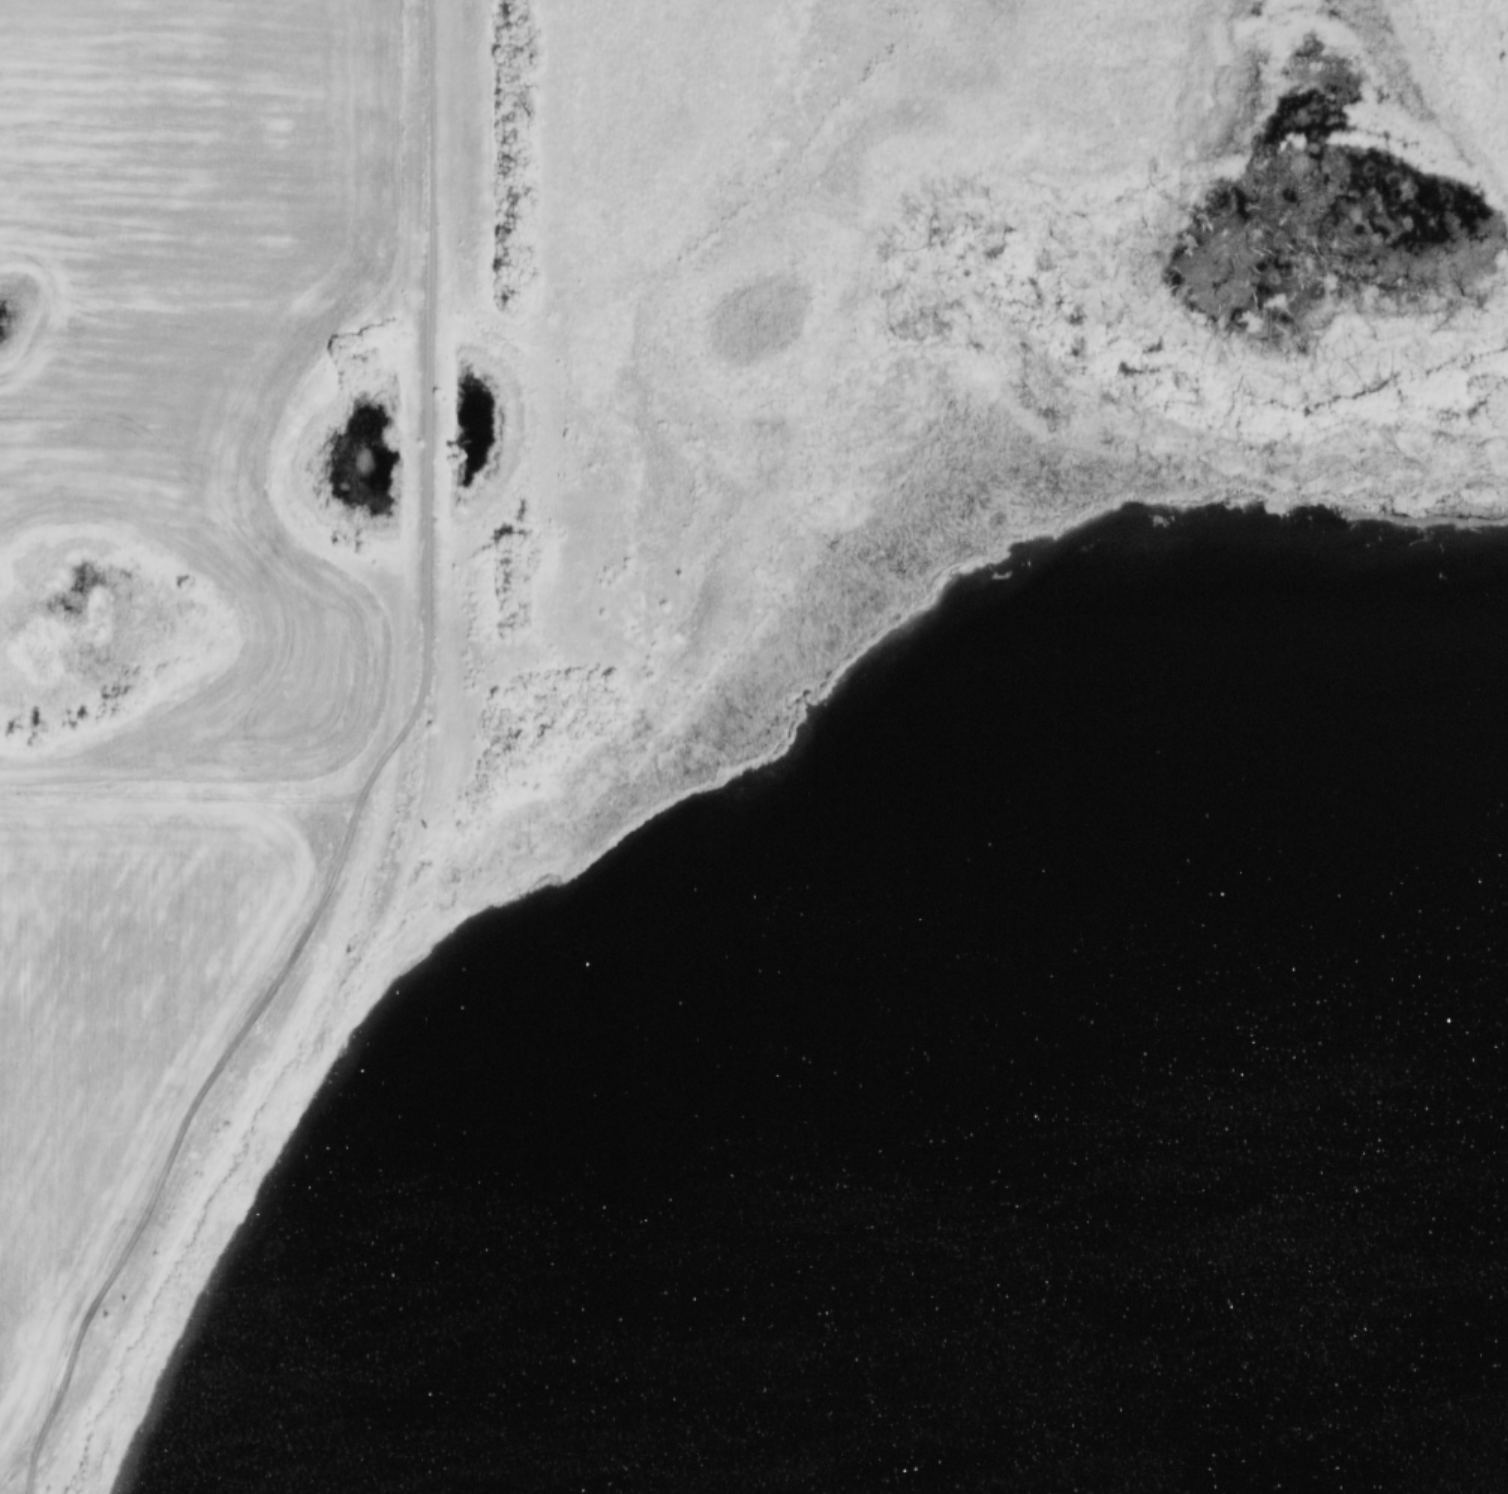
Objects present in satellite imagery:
road: (411, 782)

